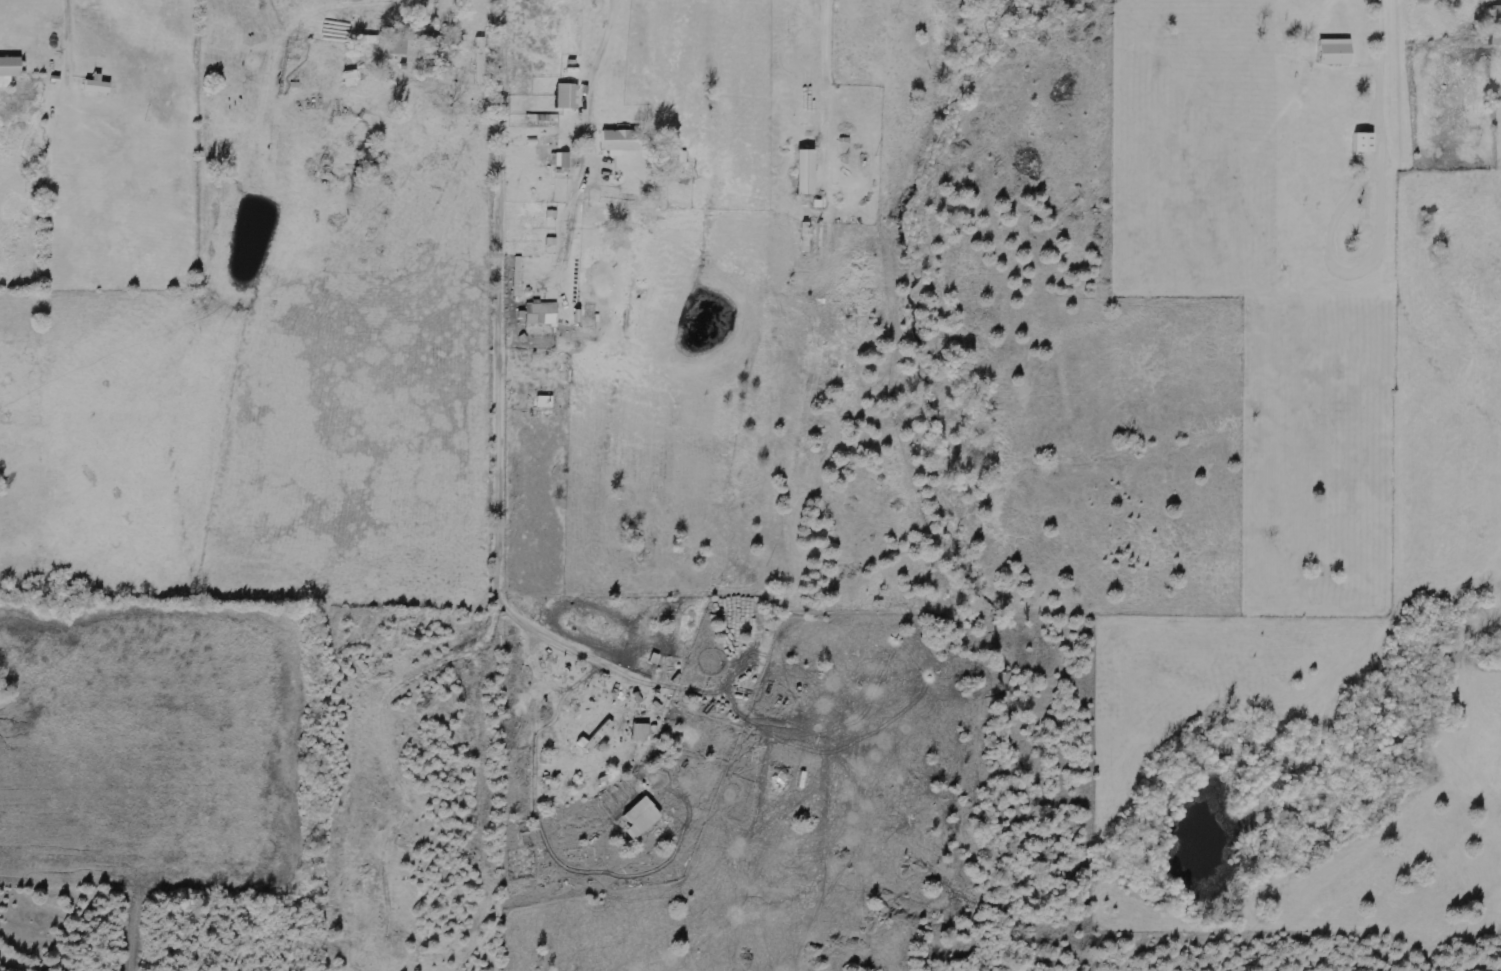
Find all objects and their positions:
building: (1496, 25)
building: (397, 39)
building: (431, 44)
building: (1336, 52)
building: (480, 60)
building: (9, 70)
building: (98, 86)
building: (568, 96)
building: (621, 141)
building: (1364, 142)
building: (563, 160)
building: (806, 172)
building: (542, 314)
building: (545, 402)
building: (641, 733)
building: (595, 738)
building: (641, 818)

